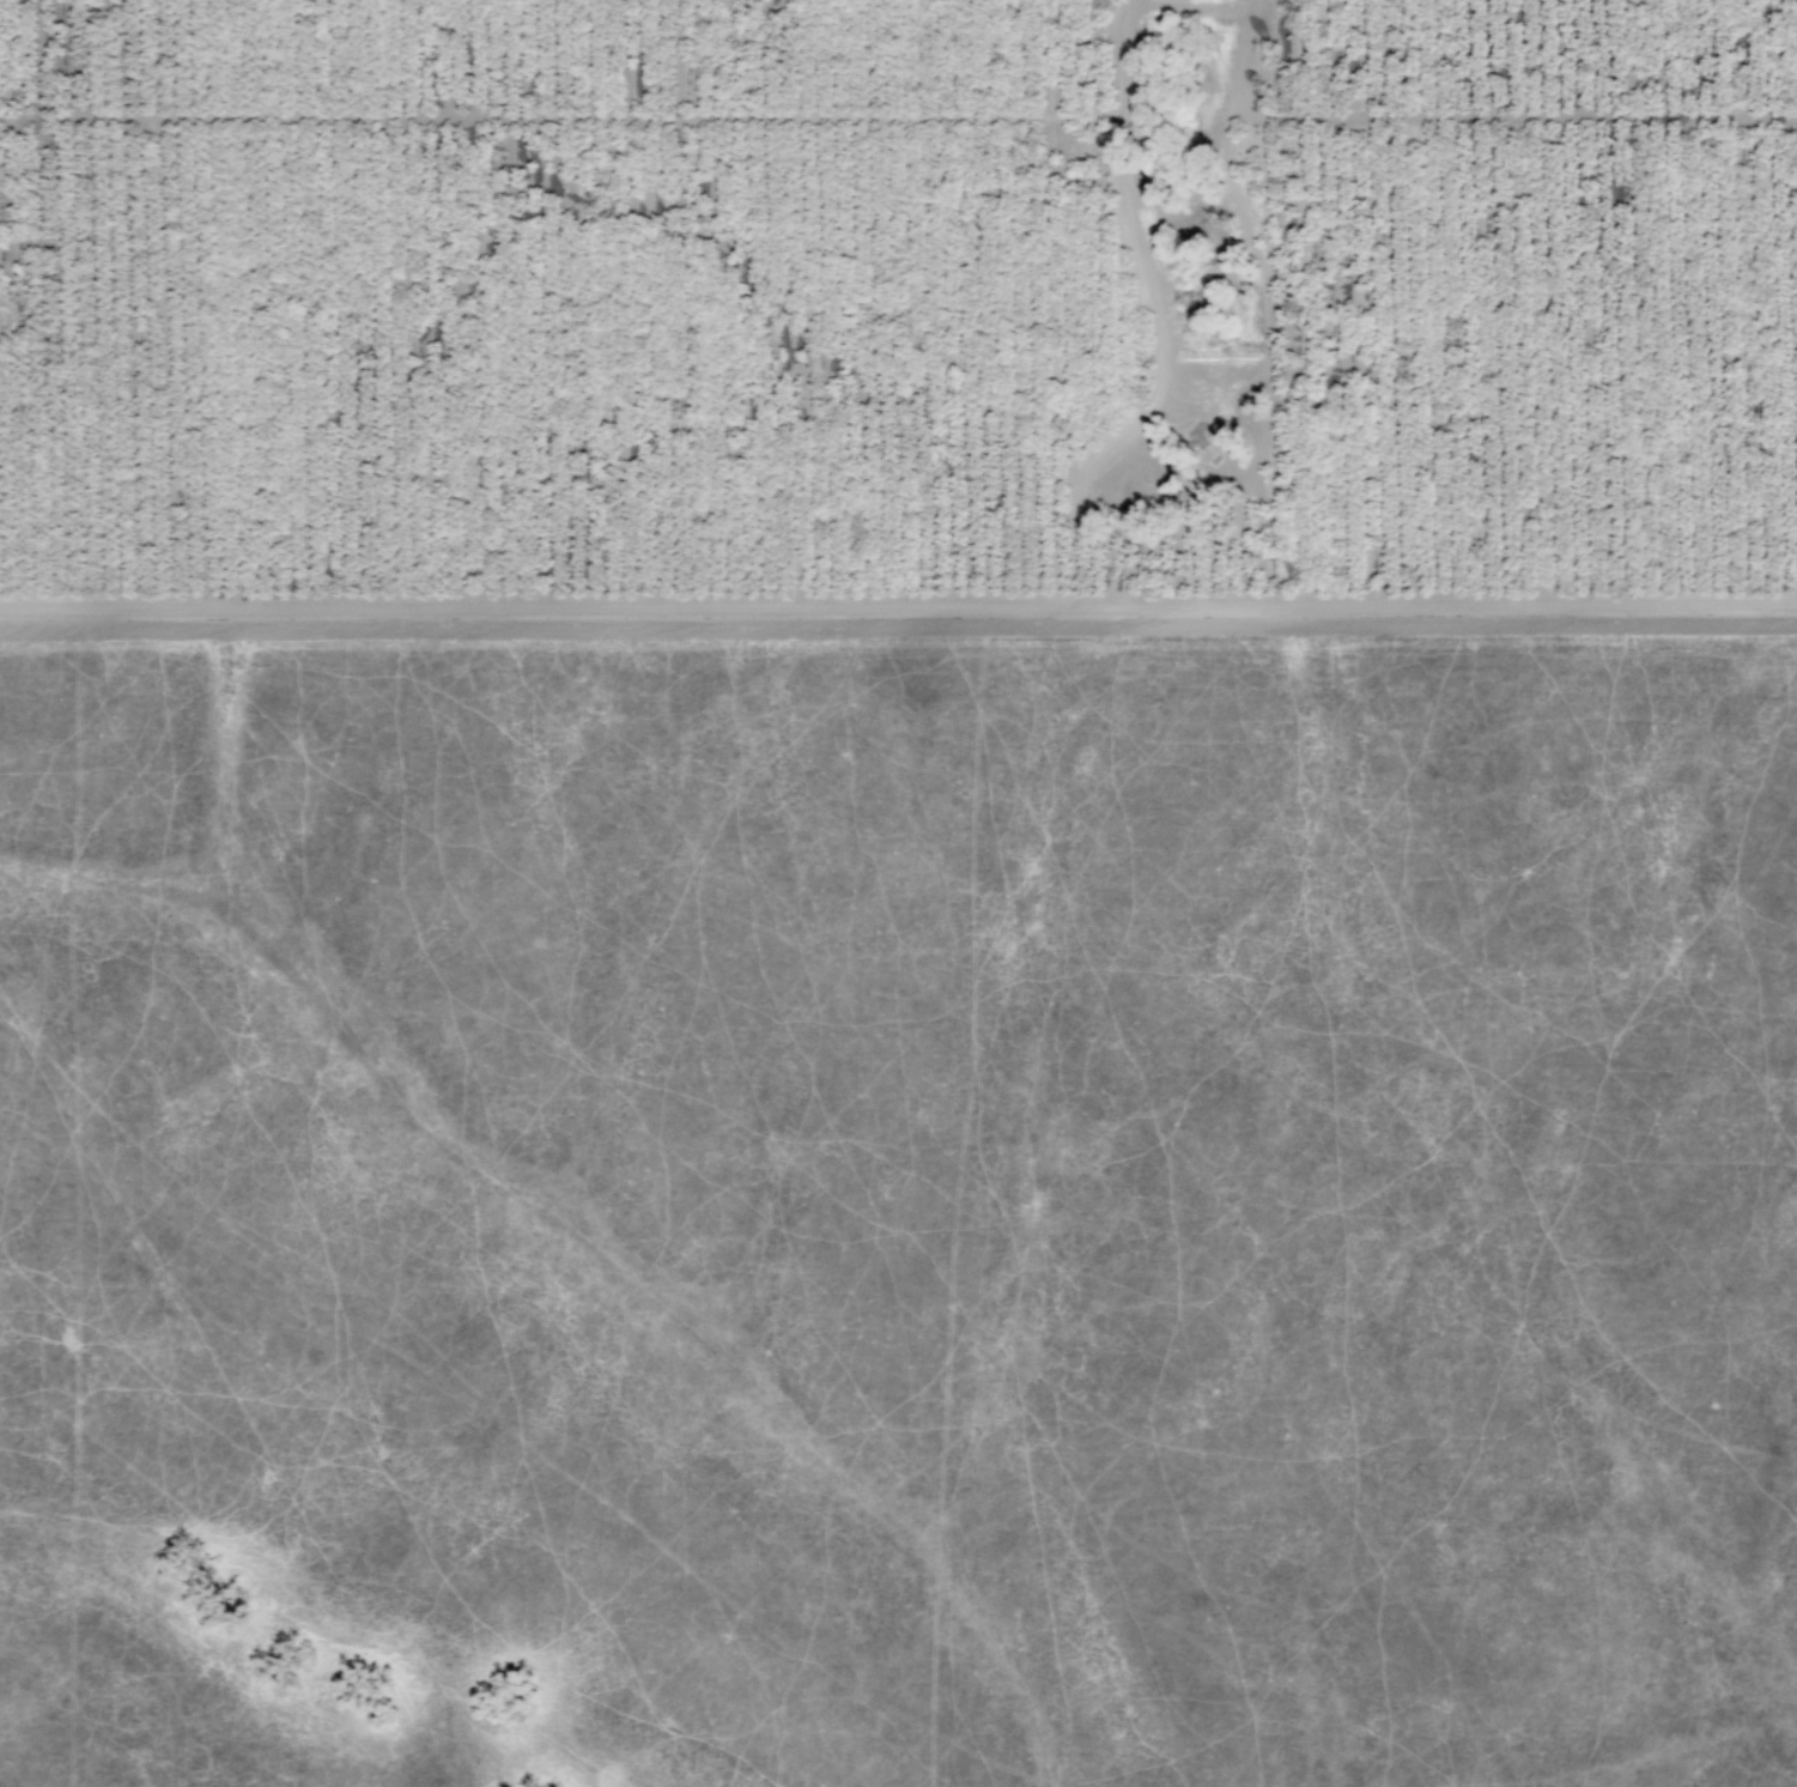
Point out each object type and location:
road: (1196, 4)
road: (1511, 117)
road: (561, 119)
road: (1244, 232)
road: (1159, 325)
road: (898, 606)
road: (898, 632)

